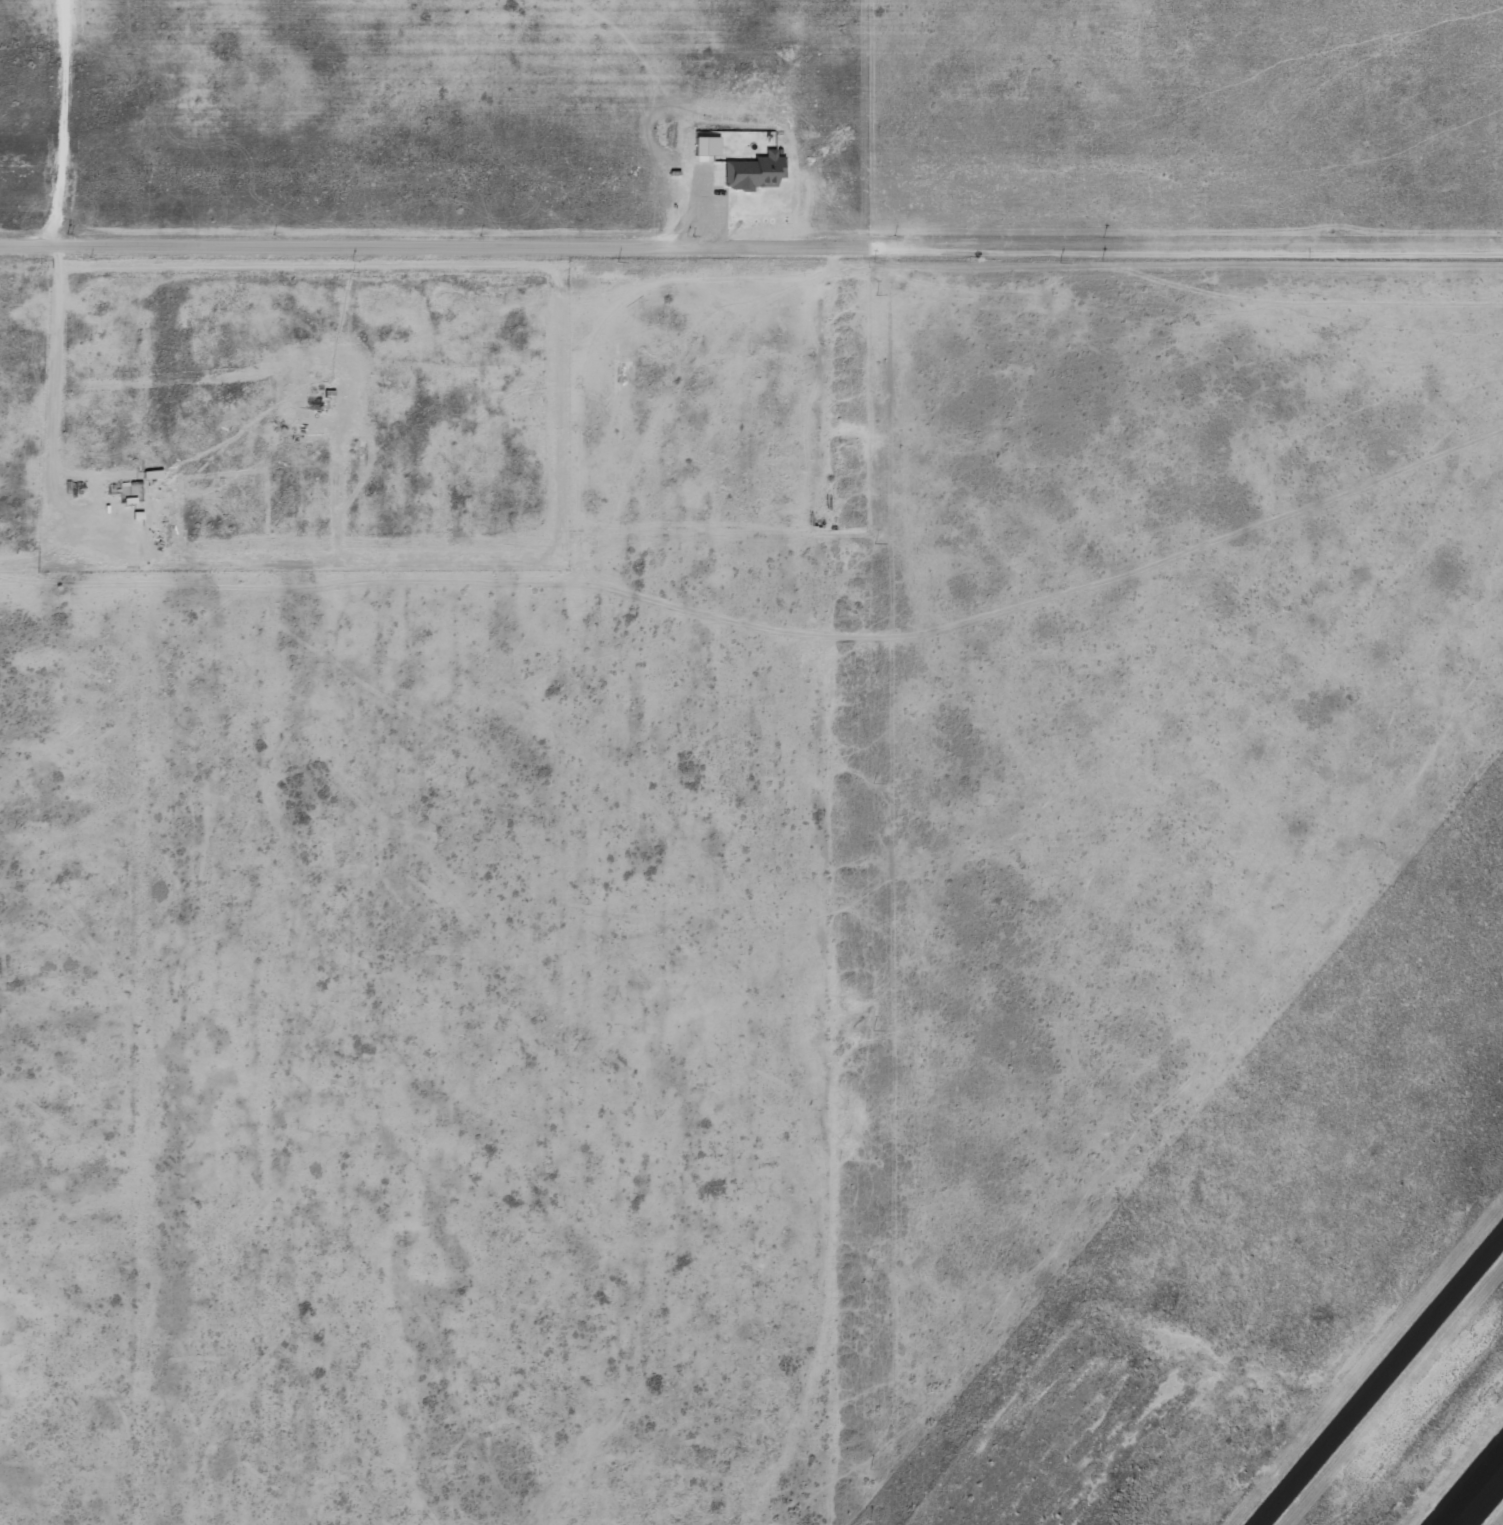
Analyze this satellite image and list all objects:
airport: (1197, 895)
airport taxiway: (1383, 1382)
airport runway: (1477, 1494)

